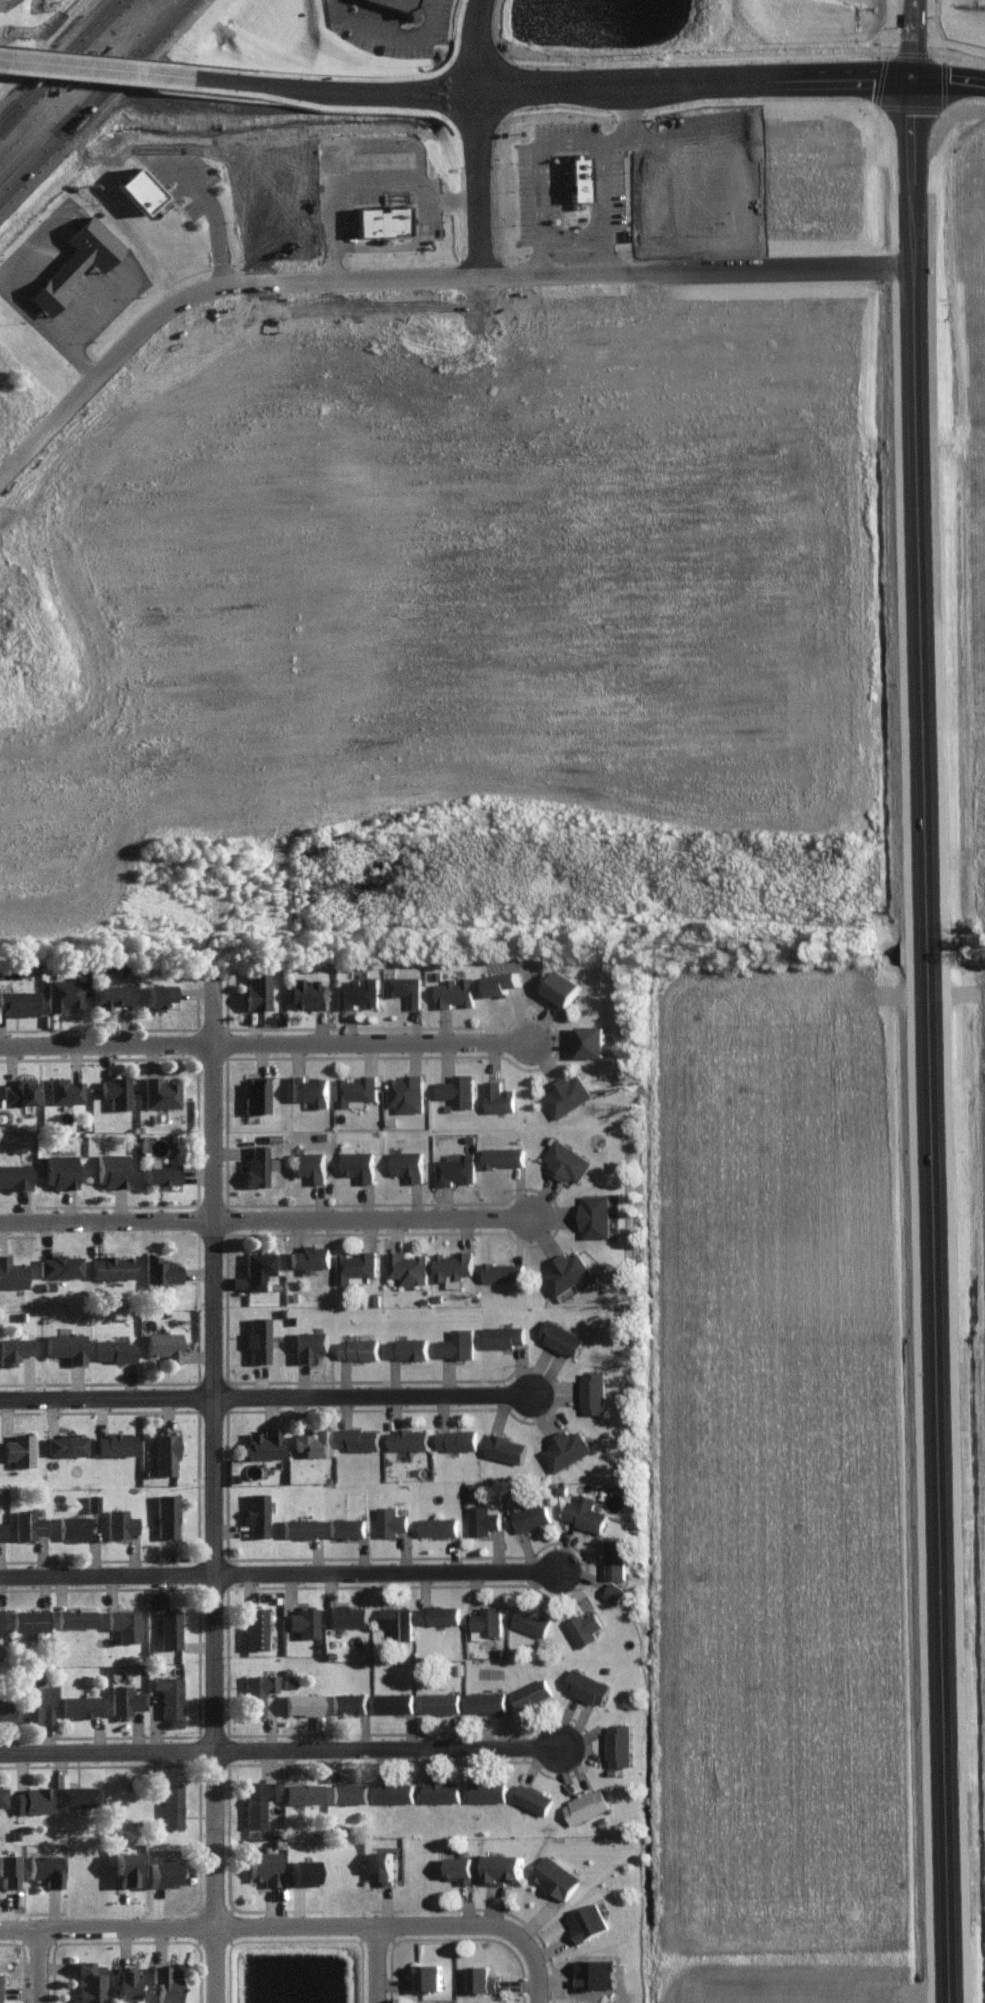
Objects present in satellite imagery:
building: (413, 4)
road: (912, 5)
parking lot: (343, 8)
parking lot: (447, 17)
road: (401, 29)
parking lot: (396, 35)
road: (473, 42)
road: (909, 42)
road: (60, 63)
road: (80, 65)
road: (946, 74)
road: (785, 76)
road: (239, 80)
road: (569, 83)
road: (396, 87)
road: (93, 98)
parking lot: (576, 124)
road: (554, 139)
road: (909, 143)
parking lot: (389, 157)
parking lot: (187, 161)
building: (588, 174)
road: (476, 177)
building: (578, 177)
parking lot: (538, 182)
parking lot: (558, 182)
parking lot: (624, 186)
building: (146, 187)
road: (409, 193)
road: (613, 199)
road: (342, 200)
parking lot: (440, 200)
road: (603, 207)
building: (389, 216)
road: (582, 235)
road: (228, 236)
building: (86, 257)
road: (414, 269)
road: (93, 305)
road: (27, 309)
building: (564, 986)
building: (256, 988)
building: (406, 988)
building: (455, 990)
building: (359, 991)
building: (64, 993)
building: (307, 993)
building: (113, 994)
building: (158, 994)
building: (18, 1001)
building: (592, 1040)
road: (264, 1042)
building: (64, 1089)
building: (309, 1089)
building: (457, 1089)
building: (356, 1090)
building: (18, 1091)
building: (115, 1091)
building: (159, 1092)
building: (405, 1092)
building: (256, 1094)
building: (566, 1094)
building: (498, 1096)
road: (929, 1108)
building: (503, 1156)
building: (567, 1160)
building: (358, 1163)
building: (407, 1163)
building: (310, 1164)
building: (257, 1165)
building: (455, 1167)
building: (111, 1168)
building: (60, 1170)
building: (159, 1174)
building: (14, 1175)
building: (594, 1214)
road: (262, 1219)
building: (310, 1256)
building: (59, 1265)
building: (356, 1265)
building: (111, 1266)
building: (407, 1266)
building: (453, 1266)
building: (257, 1268)
building: (159, 1271)
building: (503, 1271)
building: (566, 1271)
building: (11, 1273)
building: (237, 1281)
building: (503, 1334)
building: (560, 1336)
building: (257, 1338)
building: (309, 1342)
building: (458, 1342)
building: (163, 1345)
building: (66, 1346)
building: (407, 1346)
building: (358, 1347)
building: (14, 1348)
building: (113, 1349)
building: (593, 1390)
road: (265, 1397)
building: (359, 1437)
building: (408, 1437)
building: (457, 1437)
building: (312, 1441)
building: (114, 1442)
building: (262, 1442)
building: (65, 1443)
building: (506, 1446)
building: (565, 1447)
building: (18, 1448)
building: (164, 1452)
road: (211, 1487)
building: (91, 1501)
building: (584, 1511)
building: (255, 1513)
building: (166, 1514)
building: (530, 1514)
building: (483, 1517)
building: (390, 1519)
building: (119, 1522)
building: (26, 1523)
building: (438, 1525)
building: (72, 1526)
building: (300, 1526)
building: (346, 1526)
building: (0, 1530)
building: (614, 1556)
road: (275, 1575)
building: (614, 1591)
building: (439, 1612)
building: (346, 1614)
building: (75, 1616)
building: (28, 1619)
building: (398, 1619)
building: (531, 1619)
building: (0, 1620)
building: (302, 1620)
building: (486, 1620)
building: (123, 1622)
building: (254, 1626)
building: (584, 1626)
building: (168, 1627)
building: (586, 1685)
building: (256, 1691)
building: (532, 1691)
building: (169, 1693)
building: (122, 1698)
building: (440, 1700)
building: (487, 1700)
building: (394, 1701)
building: (36, 1702)
building: (301, 1702)
building: (348, 1702)
building: (80, 1704)
building: (6, 1708)
road: (284, 1743)
building: (618, 1743)
building: (395, 1790)
building: (441, 1790)
building: (487, 1790)
building: (348, 1791)
building: (302, 1792)
building: (76, 1794)
building: (2, 1795)
building: (532, 1797)
building: (31, 1799)
building: (257, 1800)
building: (170, 1804)
building: (586, 1804)
building: (383, 1865)
building: (124, 1866)
building: (263, 1866)
building: (504, 1866)
building: (45, 1867)
building: (461, 1867)
building: (6, 1869)
building: (302, 1870)
building: (161, 1872)
building: (556, 1876)
road: (417, 1917)
building: (587, 1920)
road: (112, 1921)
road: (385, 1960)
road: (49, 1962)
building: (595, 1971)
building: (428, 1974)
building: (482, 1977)
building: (89, 1980)
building: (125, 1982)
building: (166, 1982)
building: (479, 2001)

